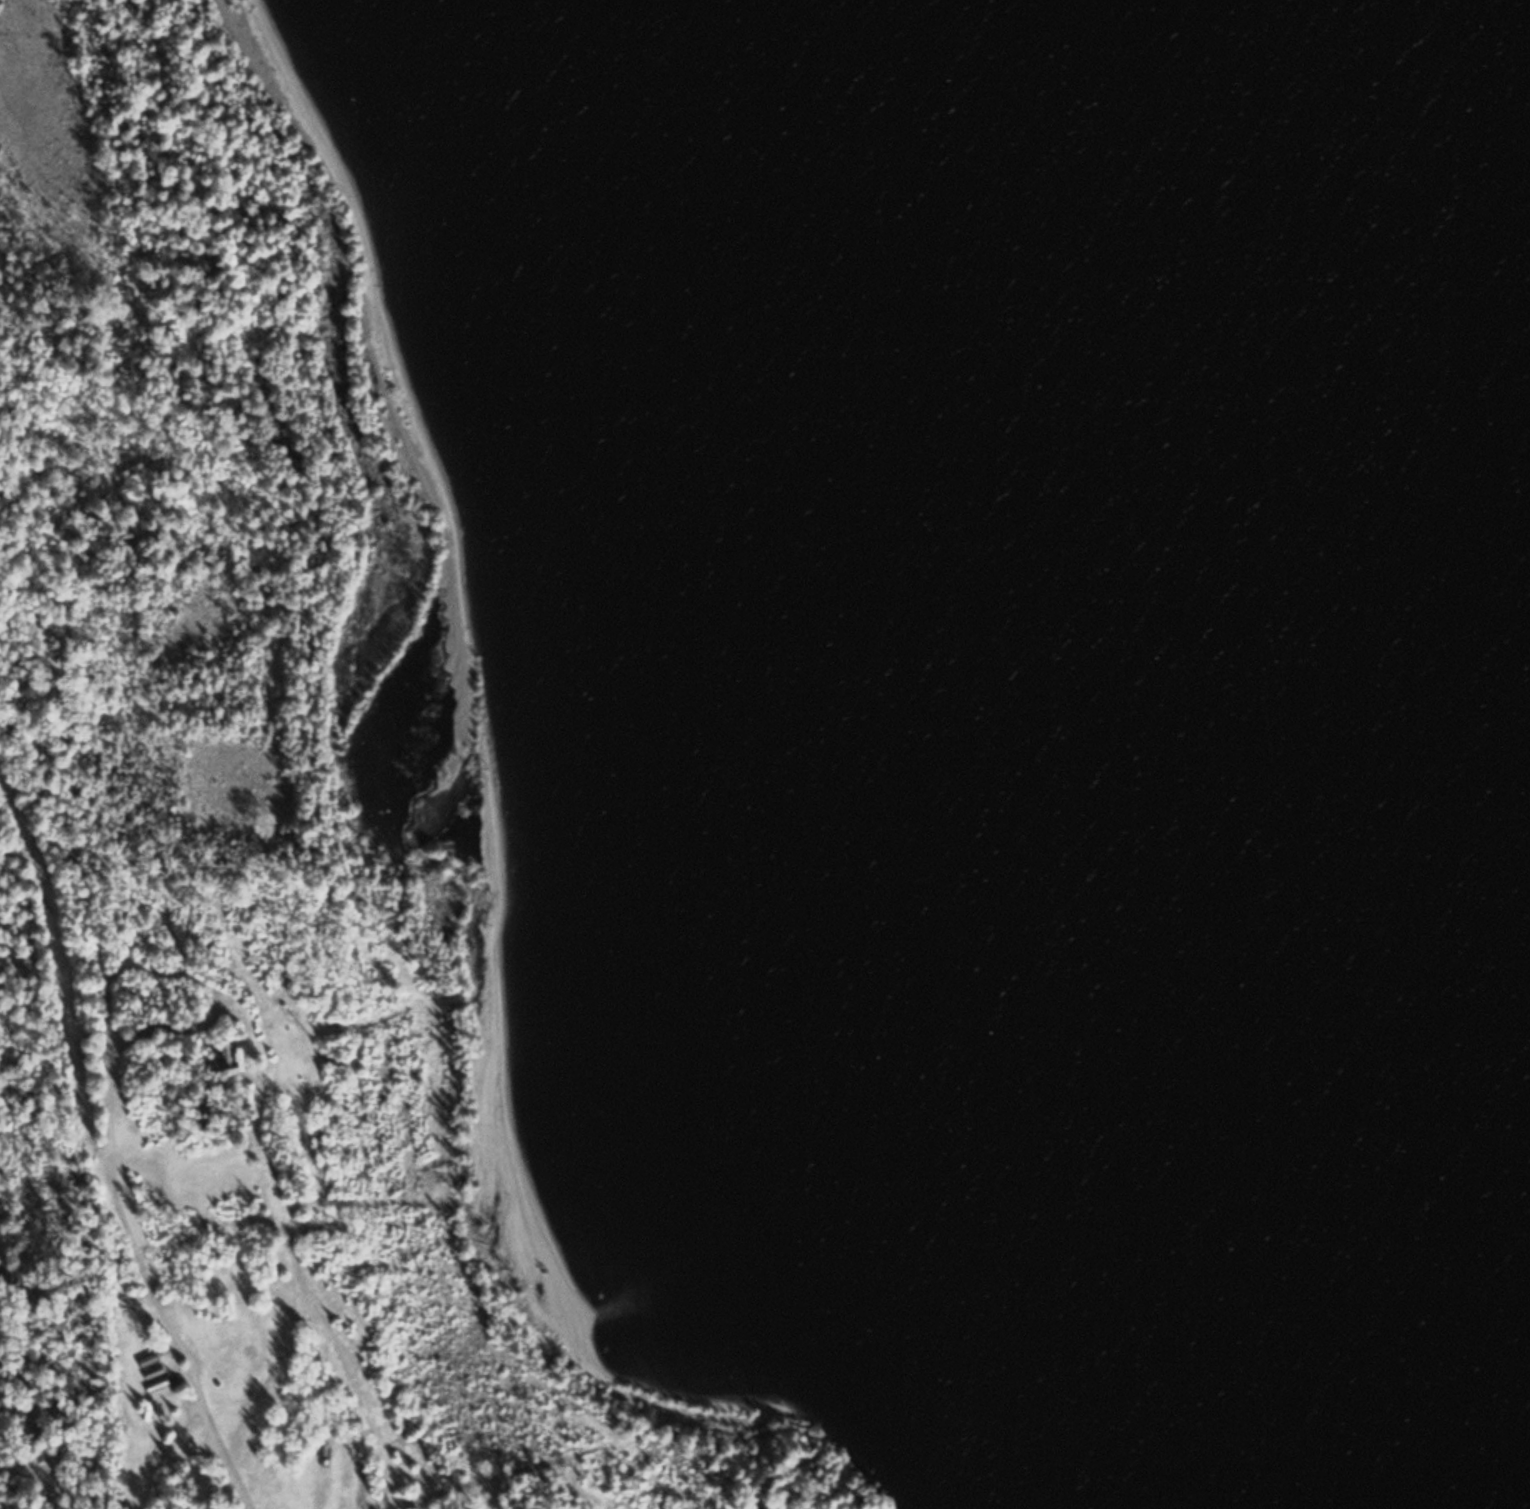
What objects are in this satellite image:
park: (257, 599)
road: (54, 937)
road: (163, 1311)
building: (155, 1372)
road: (62, 1489)

